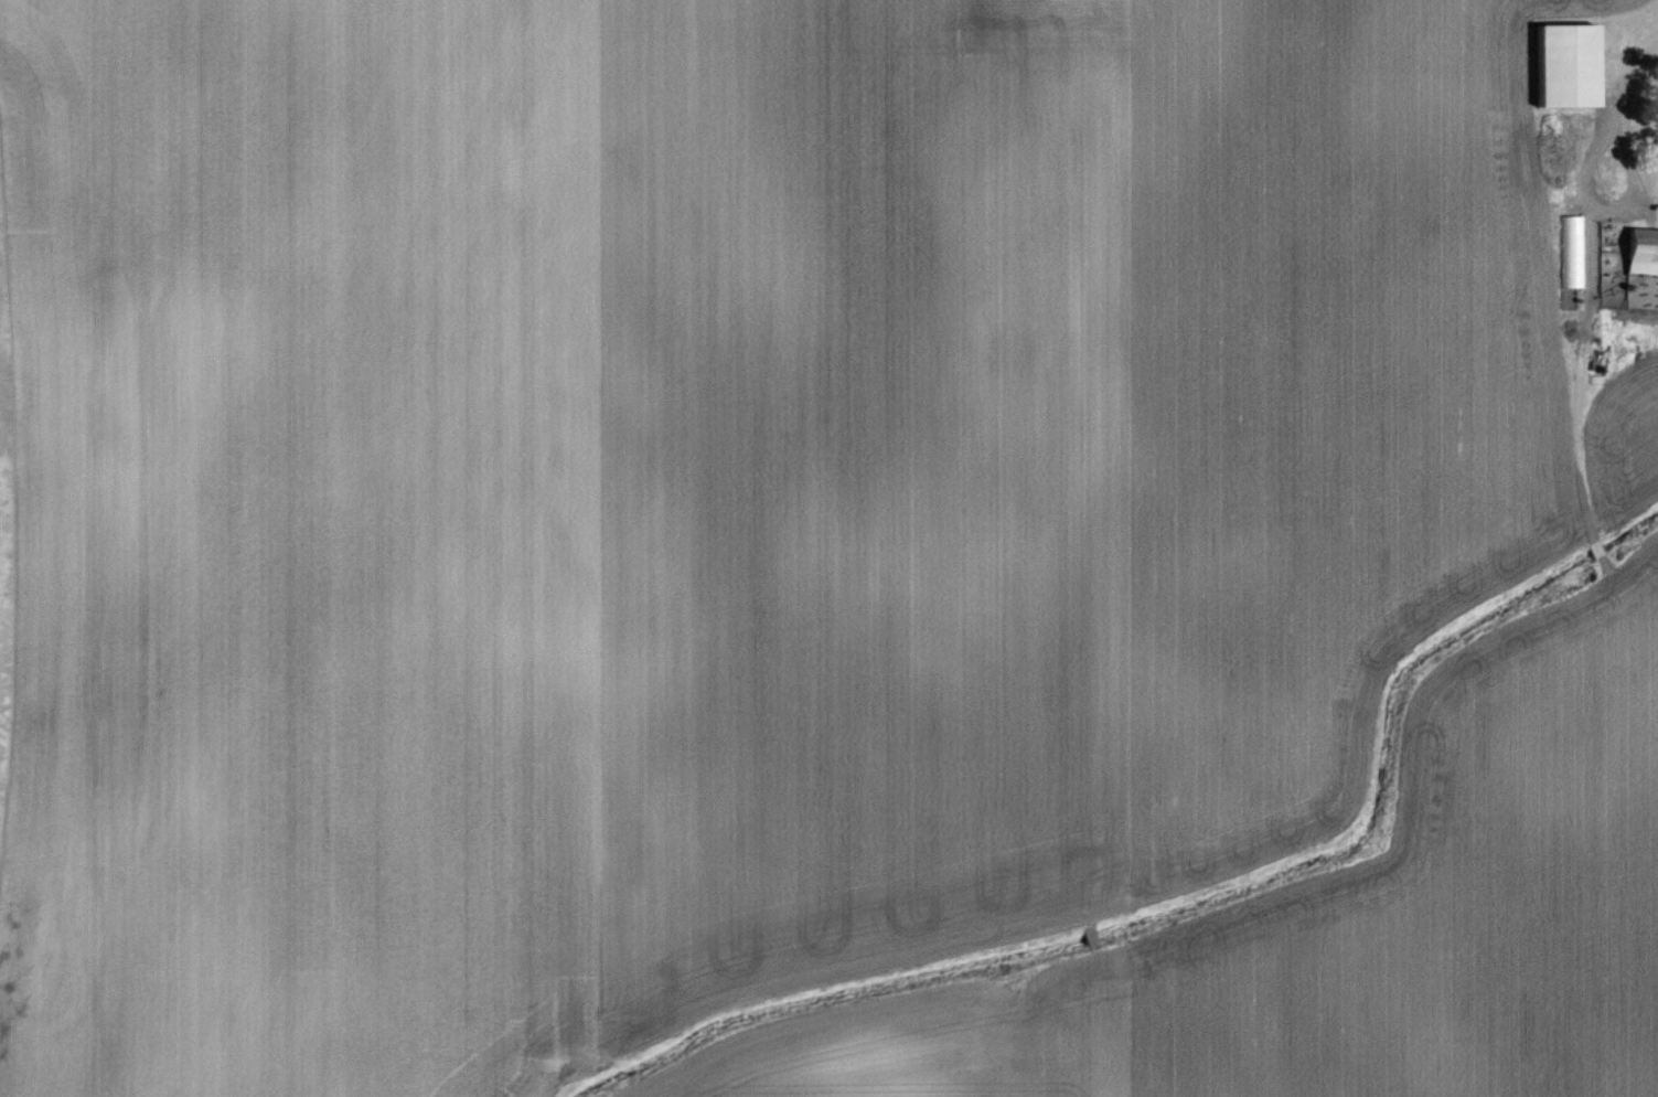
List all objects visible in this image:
building: (1560, 66)
road: (1634, 70)
road: (1606, 204)

